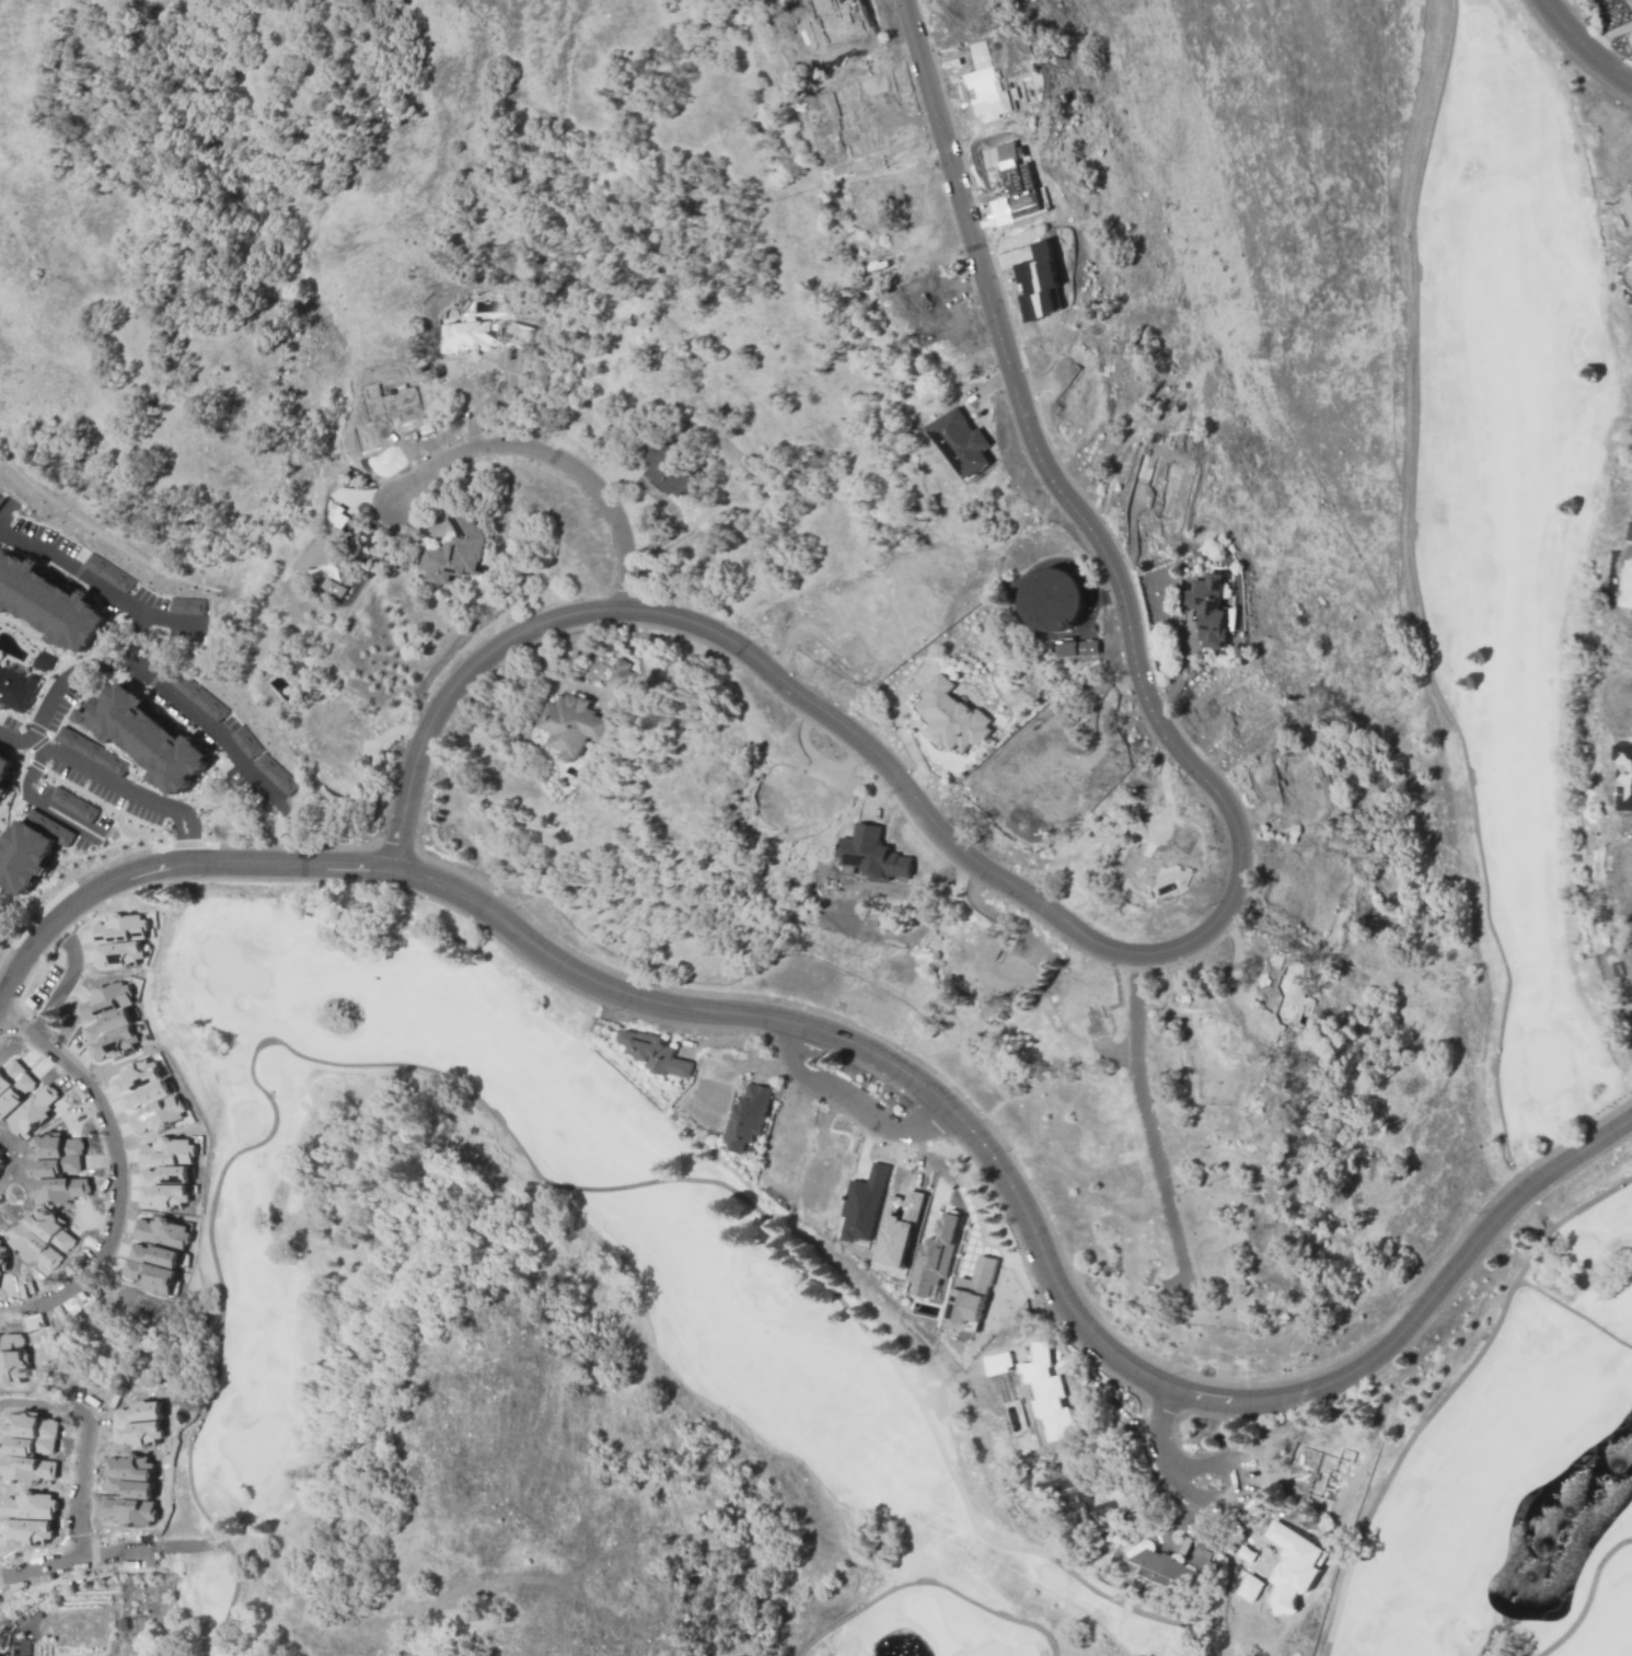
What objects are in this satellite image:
building: (1629, 3)
road: (1584, 47)
building: (1009, 184)
building: (1628, 202)
building: (1039, 283)
building: (481, 335)
building: (963, 443)
road: (551, 456)
building: (670, 471)
park: (1508, 502)
building: (1631, 539)
building: (327, 551)
building: (458, 551)
building: (106, 572)
road: (92, 582)
building: (1629, 595)
building: (47, 599)
building: (1057, 600)
building: (184, 605)
building: (1208, 610)
road: (625, 647)
building: (1084, 648)
building: (1096, 648)
building: (1067, 649)
building: (40, 659)
road: (89, 667)
building: (622, 675)
road: (562, 679)
building: (16, 691)
building: (192, 691)
building: (953, 717)
building: (574, 726)
road: (900, 730)
building: (148, 738)
road: (16, 740)
building: (244, 741)
building: (90, 751)
building: (4, 773)
building: (274, 773)
building: (1625, 773)
road: (28, 797)
building: (72, 802)
building: (27, 845)
building: (873, 854)
road: (167, 869)
building: (117, 929)
road: (1173, 951)
building: (119, 953)
building: (103, 1001)
building: (109, 1035)
building: (656, 1053)
building: (139, 1086)
building: (20, 1090)
road: (852, 1107)
building: (33, 1112)
building: (155, 1115)
building: (750, 1115)
road: (1144, 1121)
road: (516, 1137)
building: (166, 1153)
building: (1, 1157)
building: (56, 1157)
building: (1, 1162)
road: (115, 1173)
building: (164, 1189)
building: (58, 1191)
road: (959, 1193)
building: (864, 1204)
building: (898, 1230)
building: (50, 1231)
building: (161, 1231)
road: (1039, 1235)
building: (33, 1247)
building: (1, 1254)
building: (935, 1257)
building: (150, 1267)
building: (971, 1292)
road: (27, 1295)
road: (1573, 1312)
building: (10, 1362)
building: (1000, 1364)
park: (701, 1380)
building: (1048, 1393)
road: (1446, 1393)
road: (44, 1408)
building: (137, 1426)
building: (31, 1437)
building: (24, 1470)
building: (128, 1478)
road: (82, 1487)
building: (1086, 1497)
road: (1196, 1505)
building: (129, 1510)
building: (28, 1518)
road: (84, 1561)
building: (1174, 1564)
building: (1294, 1566)
building: (1250, 1587)
road: (1587, 1598)
building: (123, 1624)
building: (20, 1647)

